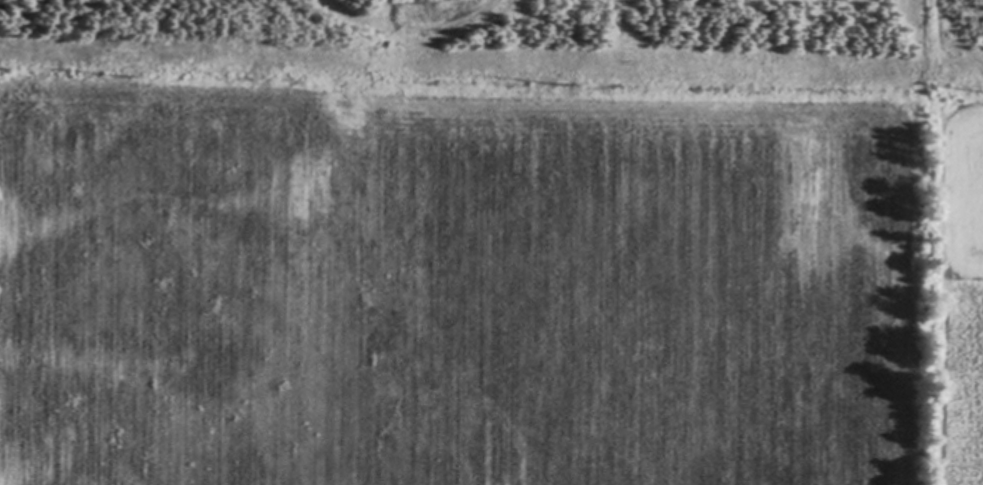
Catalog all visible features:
power tower: (120, 75)
power tower: (557, 82)

